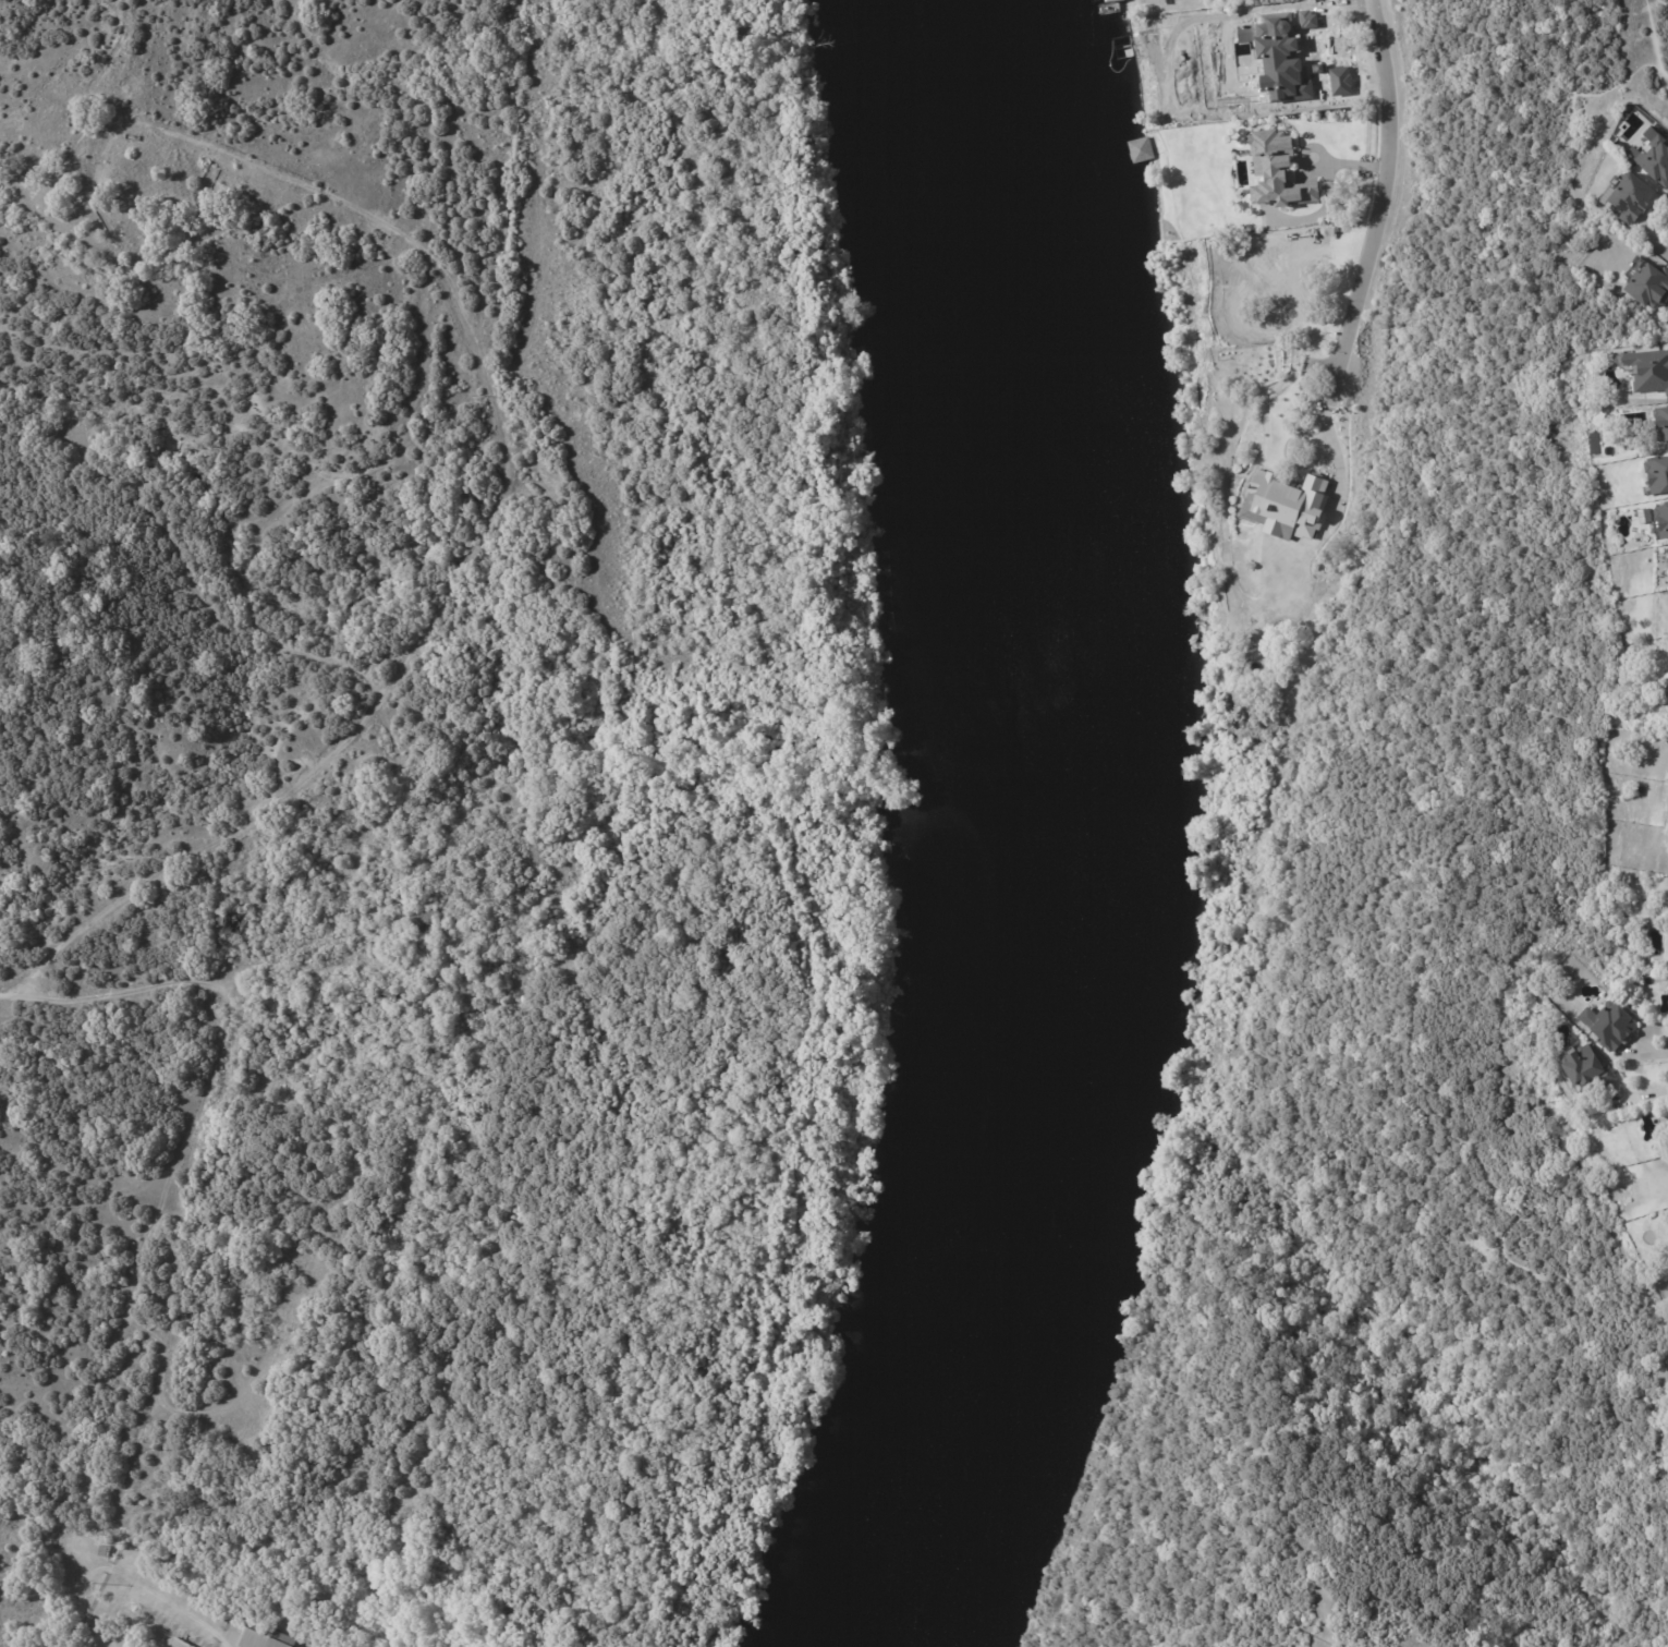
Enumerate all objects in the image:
building: (1108, 0)
building: (1140, 149)
building: (1651, 155)
building: (1277, 171)
building: (26, 189)
building: (1626, 193)
road: (1373, 214)
building: (125, 215)
road: (1661, 254)
building: (1645, 282)
building: (1646, 368)
building: (1659, 421)
building: (1656, 474)
road: (489, 505)
building: (1286, 505)
building: (1643, 516)
building: (1660, 520)
river: (1042, 834)
building: (424, 920)
building: (234, 923)
building: (1642, 930)
building: (423, 973)
road: (202, 985)
building: (389, 996)
building: (1611, 1026)
road: (1647, 1057)
building: (1583, 1068)
road: (1641, 1097)
building: (82, 1631)
building: (260, 1637)

